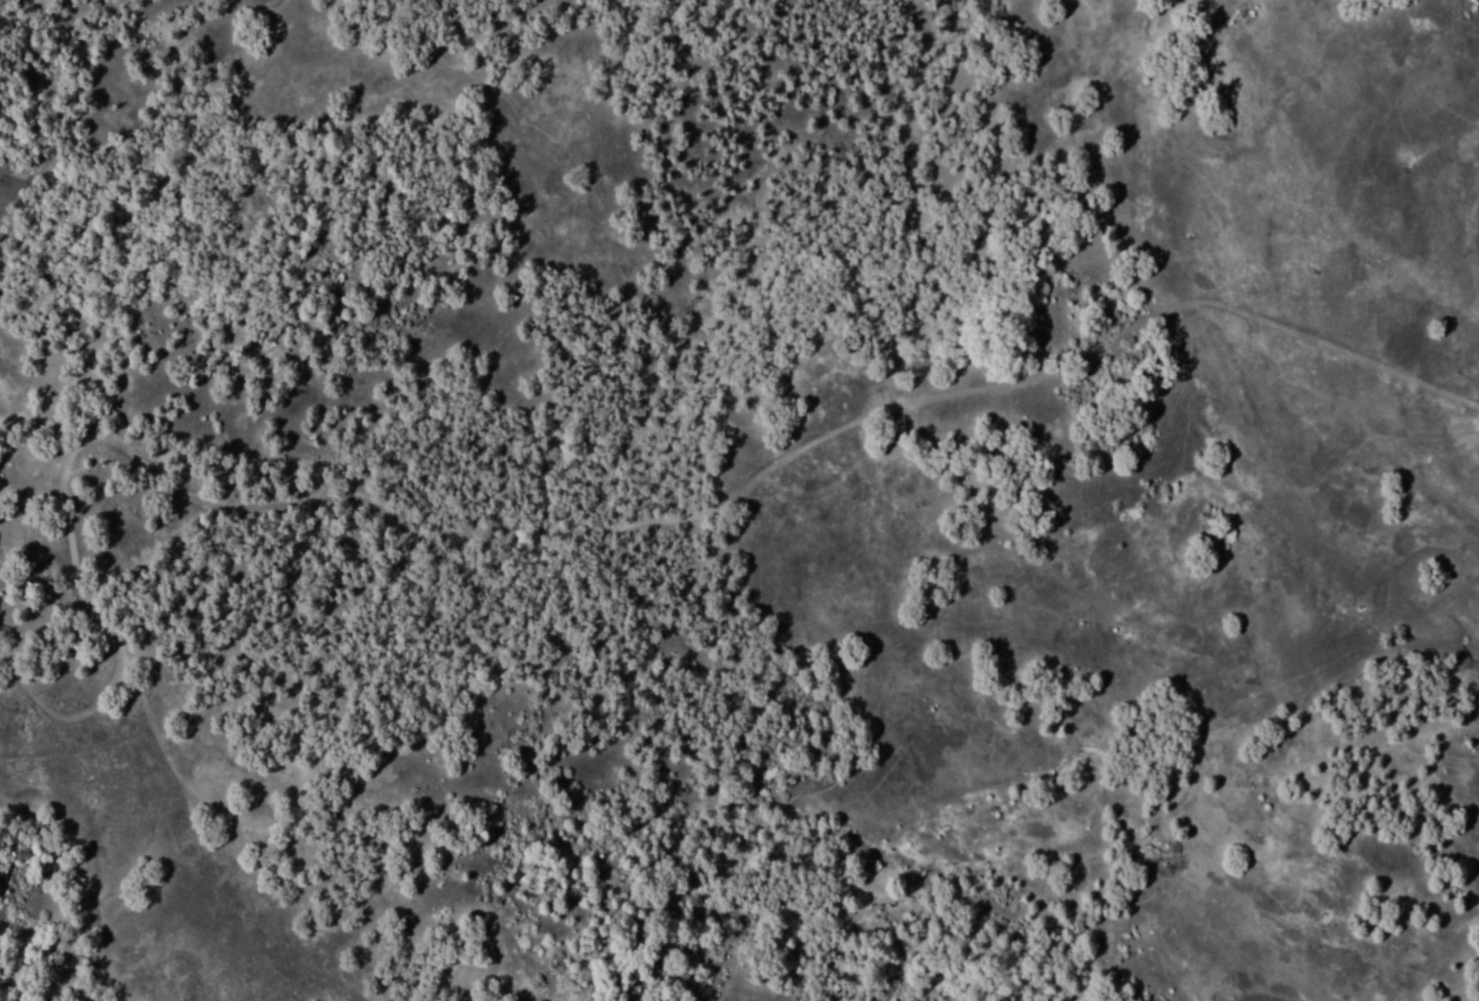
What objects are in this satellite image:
road: (1, 410)
road: (749, 472)
road: (7, 488)
road: (11, 631)
road: (24, 659)

